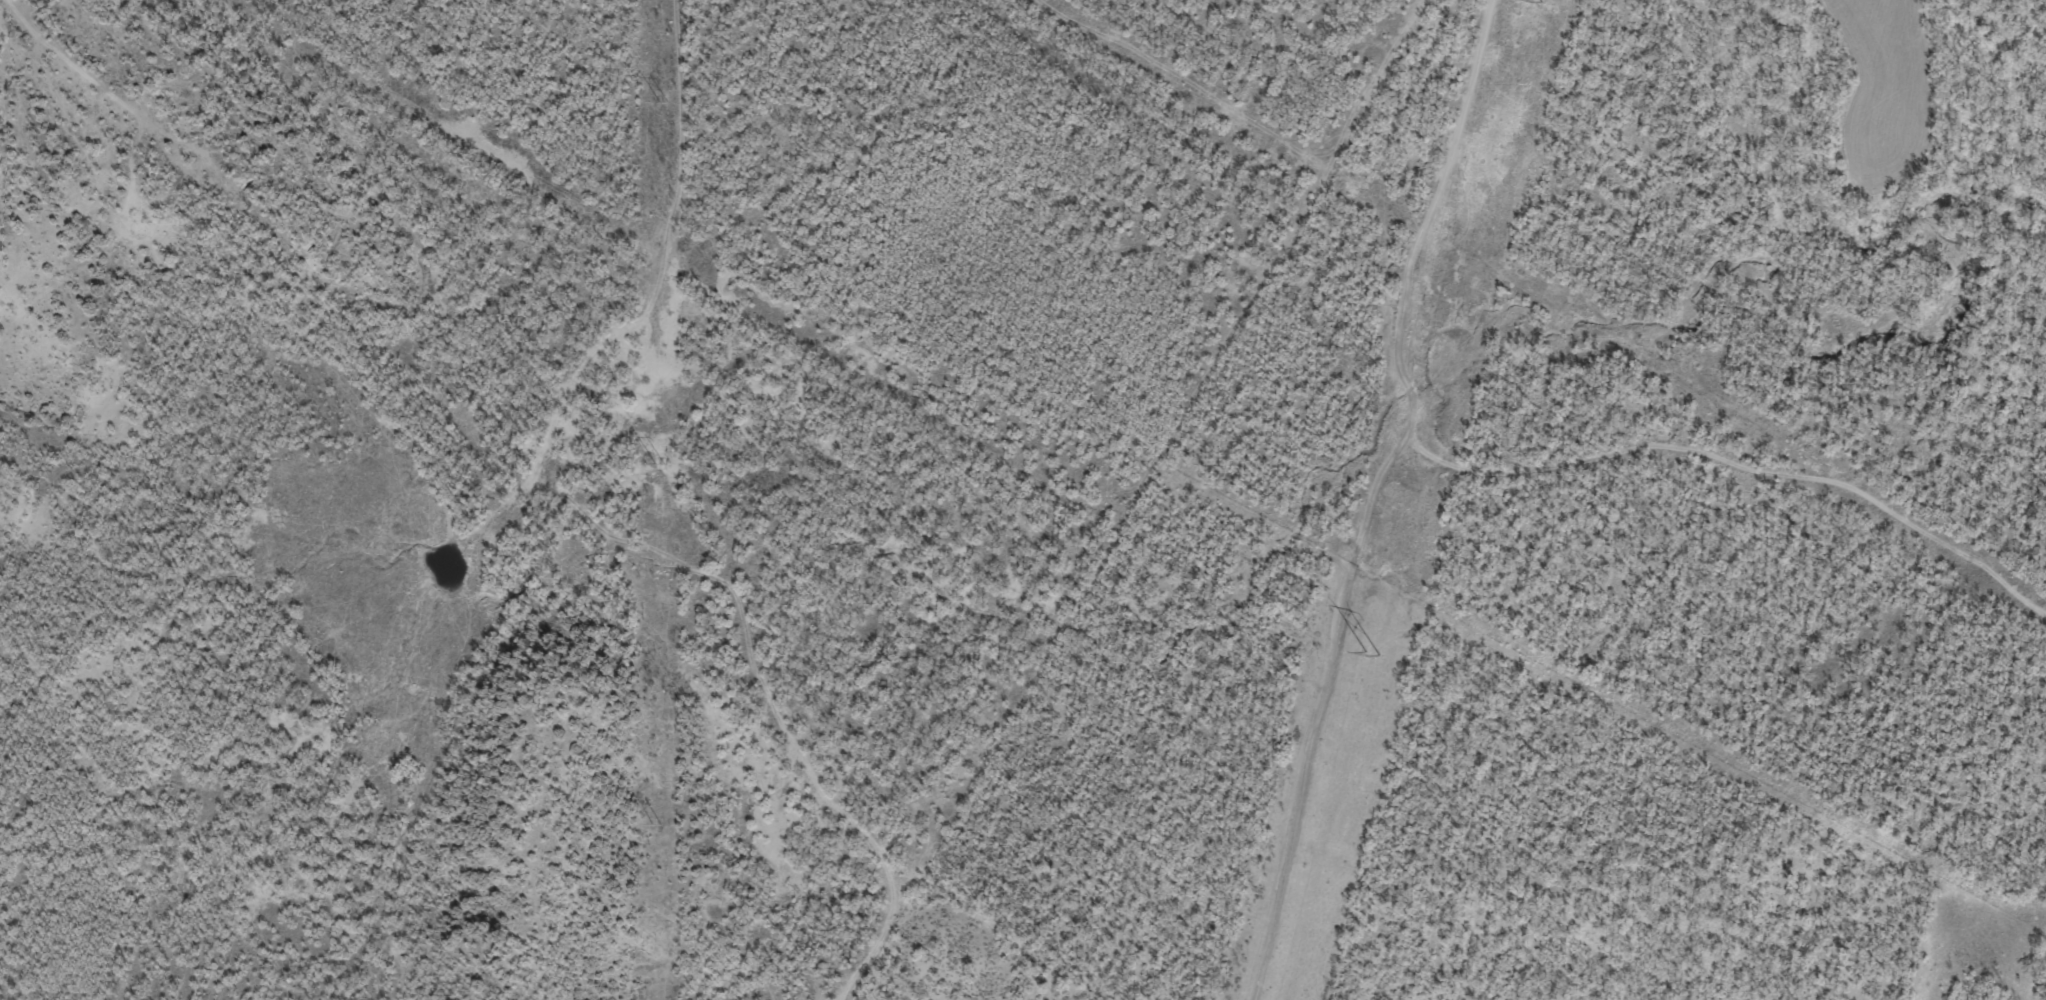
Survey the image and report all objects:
power tower: (1530, 2)
power tower: (664, 102)
road: (1542, 454)
power tower: (659, 465)
power tower: (1373, 654)
power tower: (656, 824)

